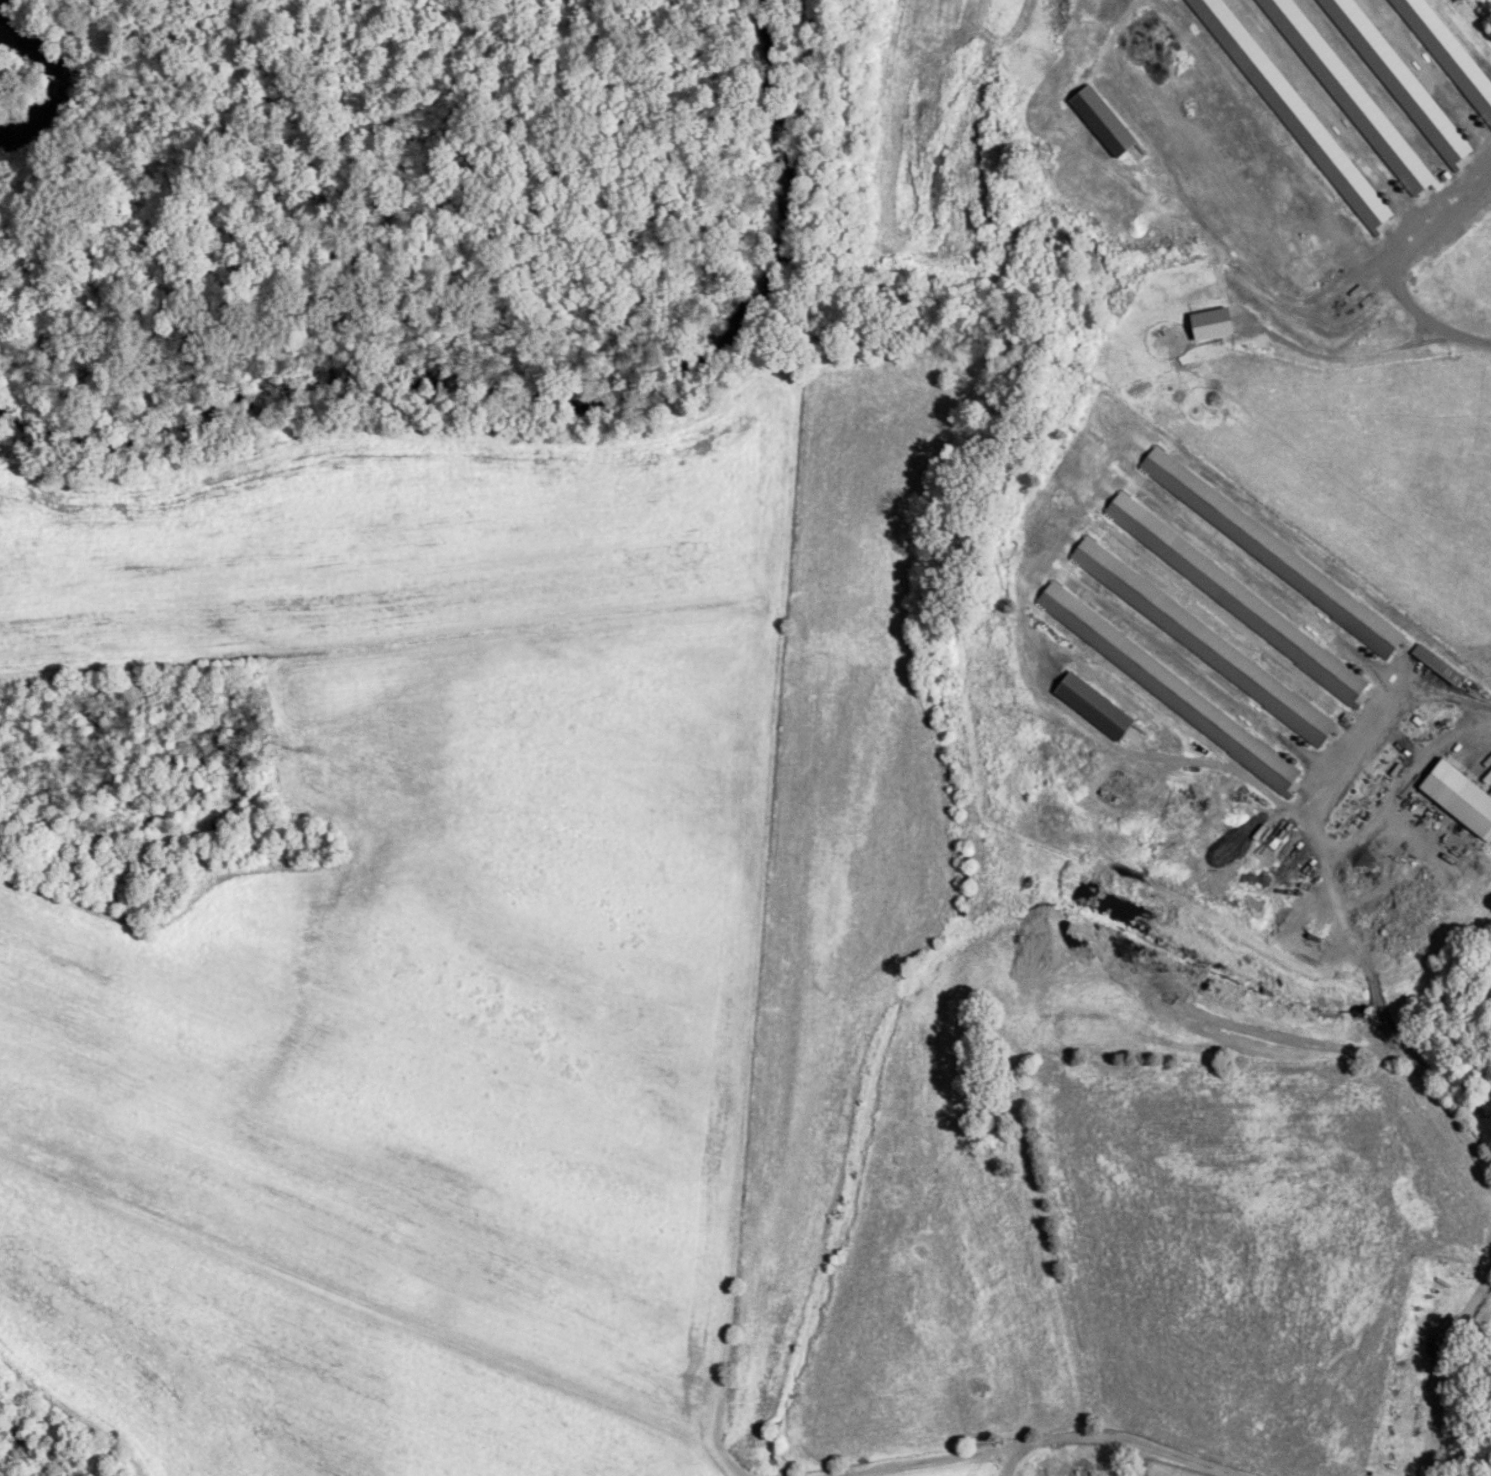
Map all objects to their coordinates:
river: (756, 24)
road: (1447, 225)
road: (1429, 319)
river: (478, 370)
road: (1353, 883)
road: (1438, 1359)
road: (1127, 1439)

